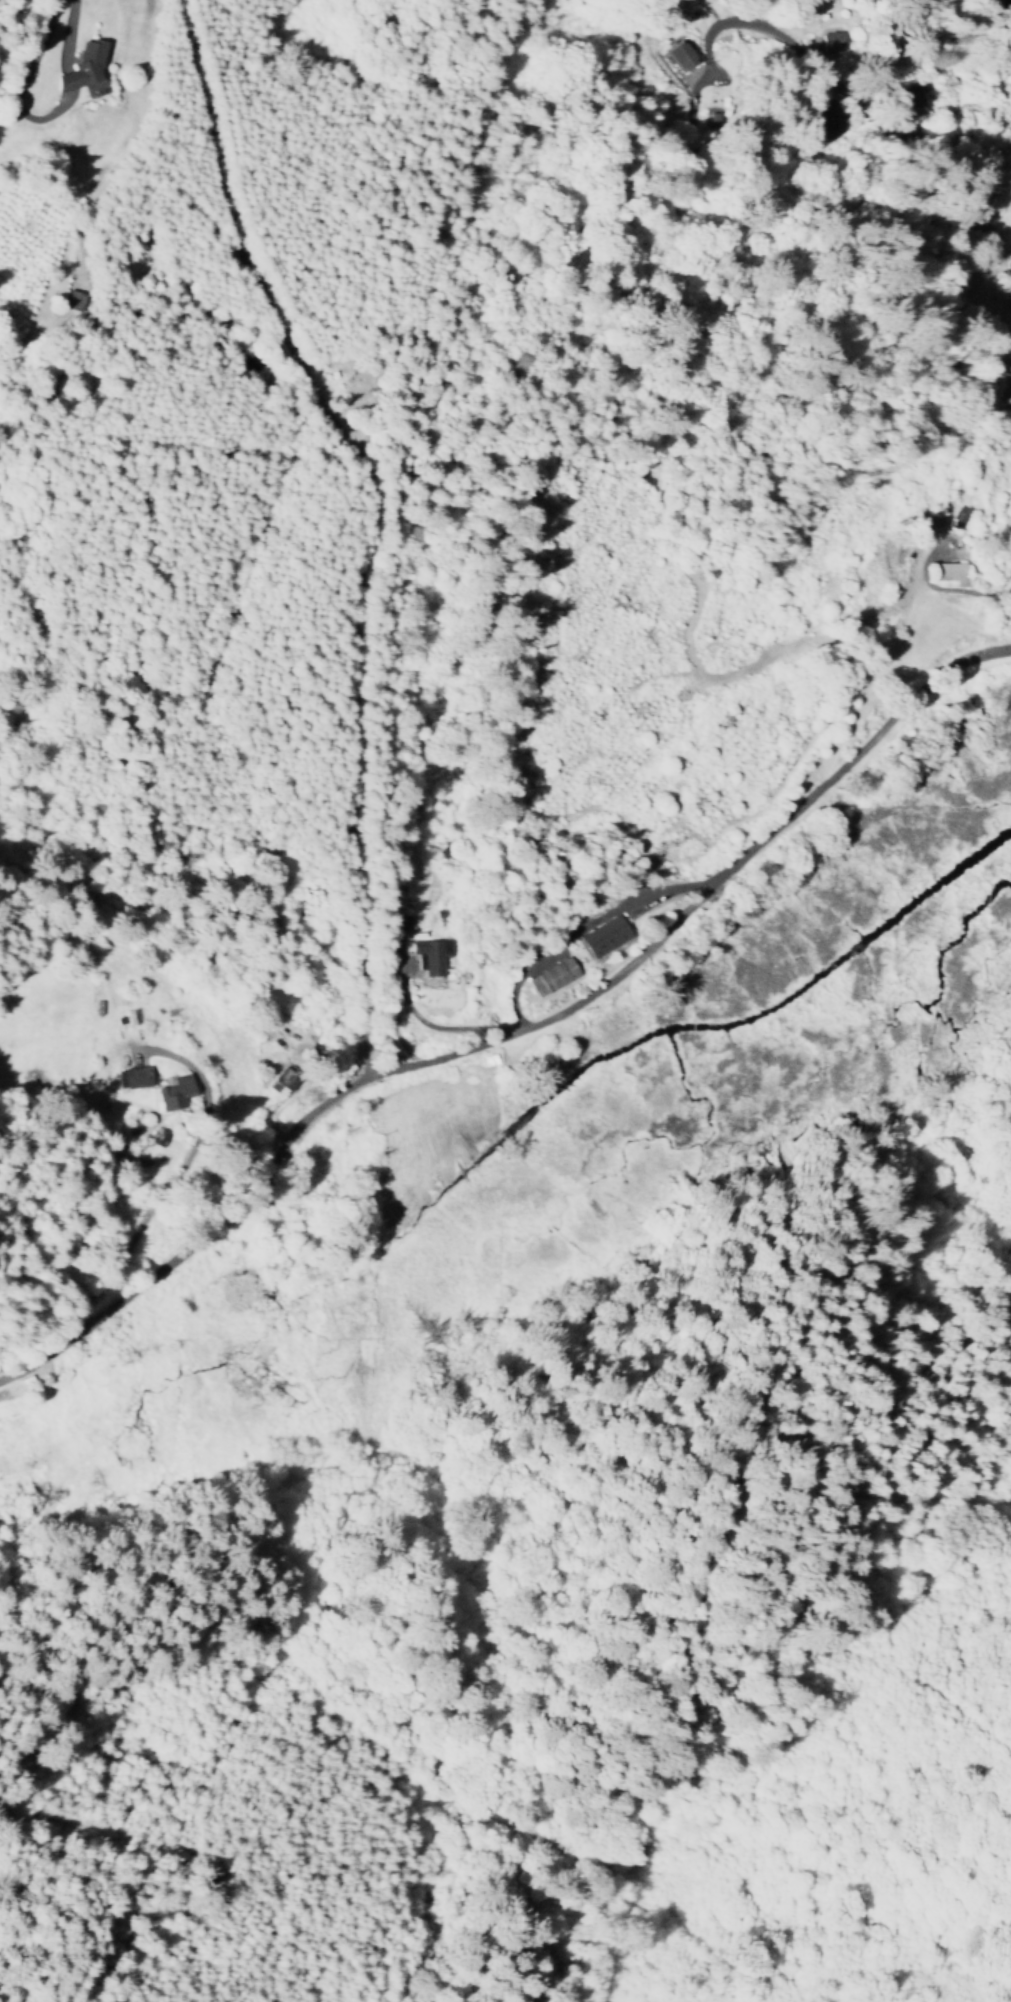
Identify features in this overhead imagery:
road: (67, 33)
building: (829, 43)
building: (677, 58)
building: (84, 62)
road: (567, 75)
road: (68, 76)
road: (20, 82)
road: (894, 137)
building: (1004, 395)
road: (377, 515)
building: (956, 517)
building: (946, 573)
building: (599, 937)
building: (426, 956)
building: (548, 978)
road: (514, 1028)
building: (129, 1078)
building: (282, 1079)
building: (170, 1093)

